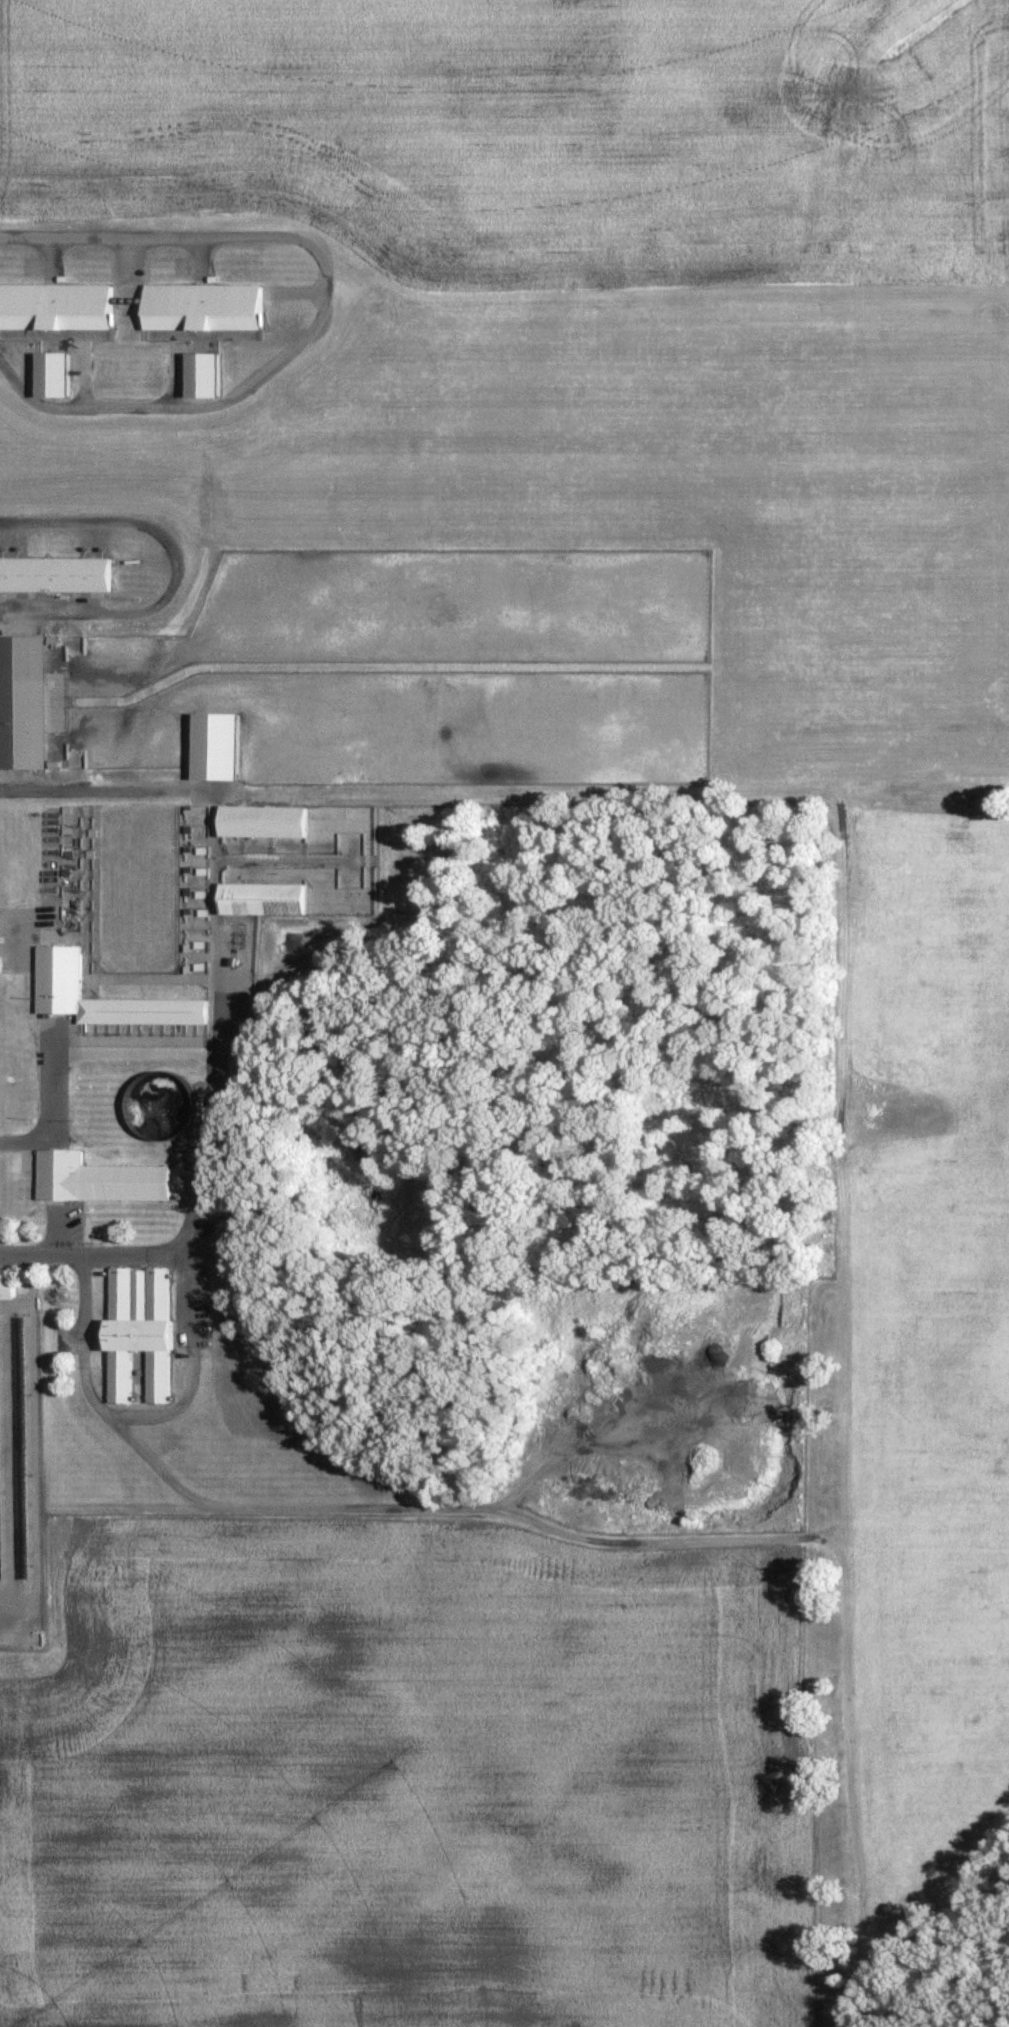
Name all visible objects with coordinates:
crop: (534, 136)
building: (55, 309)
road: (333, 309)
building: (202, 311)
building: (53, 373)
building: (204, 374)
crop: (651, 488)
road: (186, 564)
building: (54, 578)
building: (23, 706)
building: (216, 750)
building: (53, 769)
road: (107, 789)
building: (264, 824)
building: (263, 902)
building: (59, 976)
road: (63, 1117)
building: (96, 1184)
road: (41, 1257)
building: (6, 1288)
building: (138, 1333)
road: (181, 1398)
road: (301, 1742)

